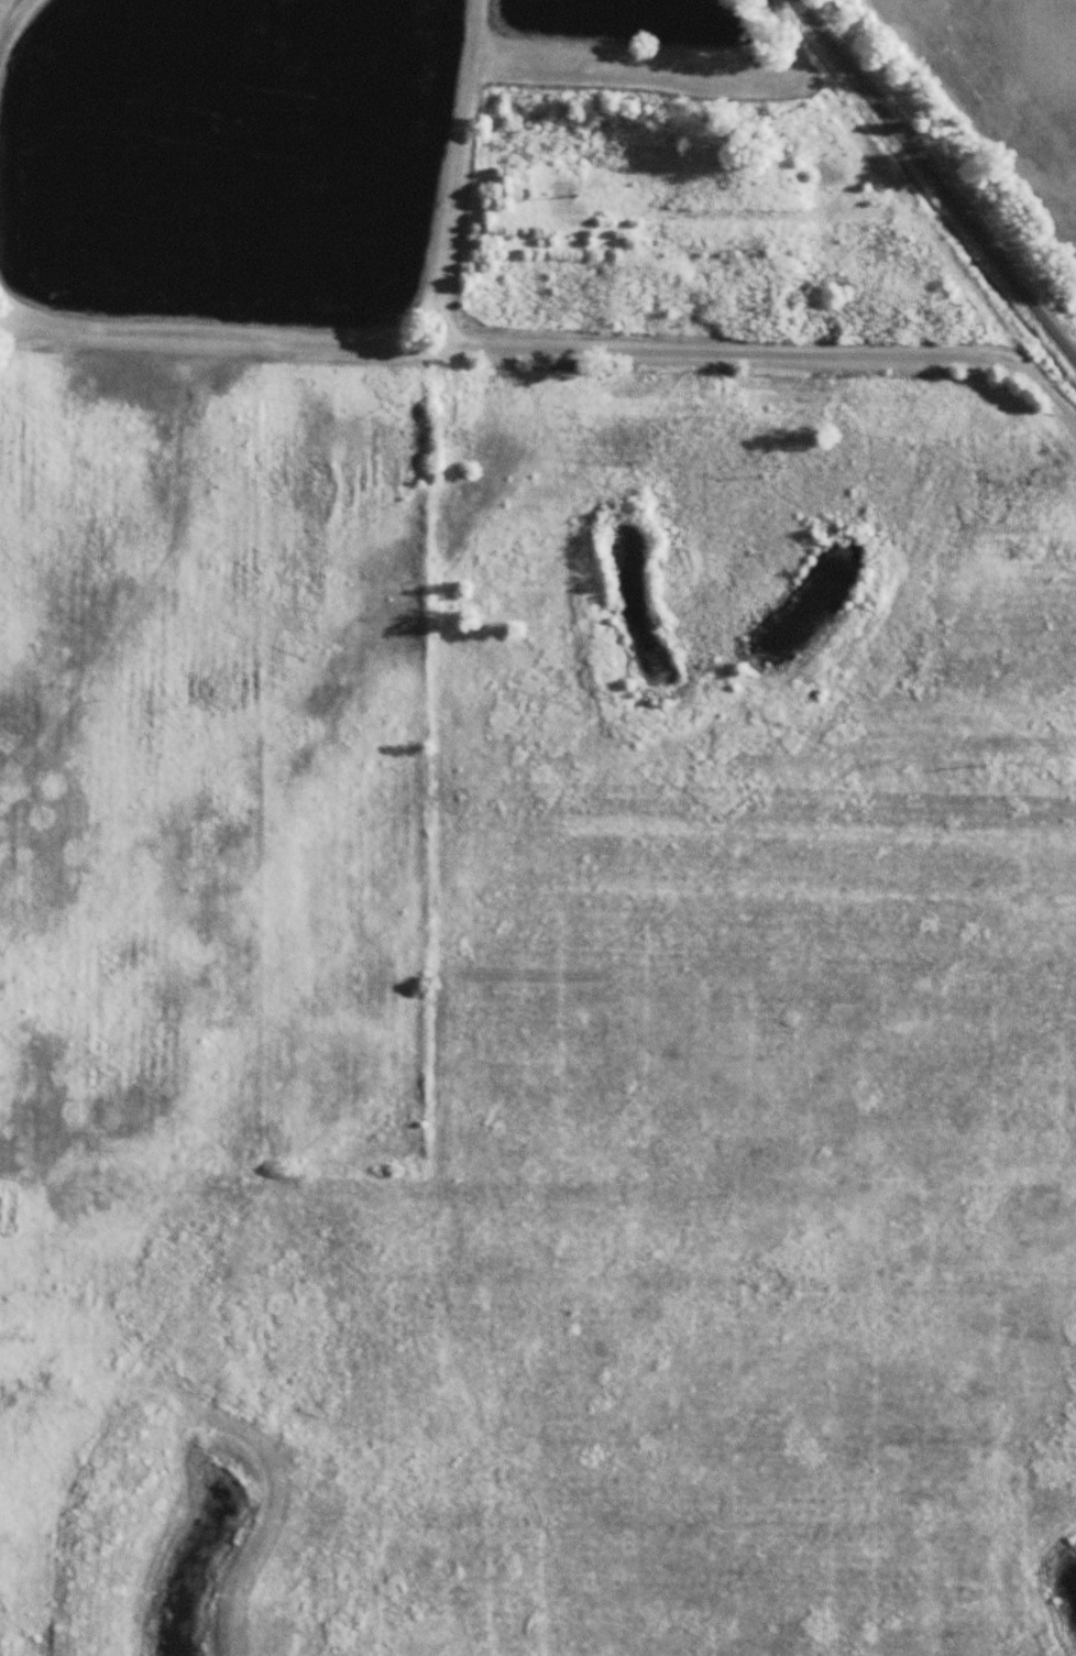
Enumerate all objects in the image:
railway: (936, 179)

